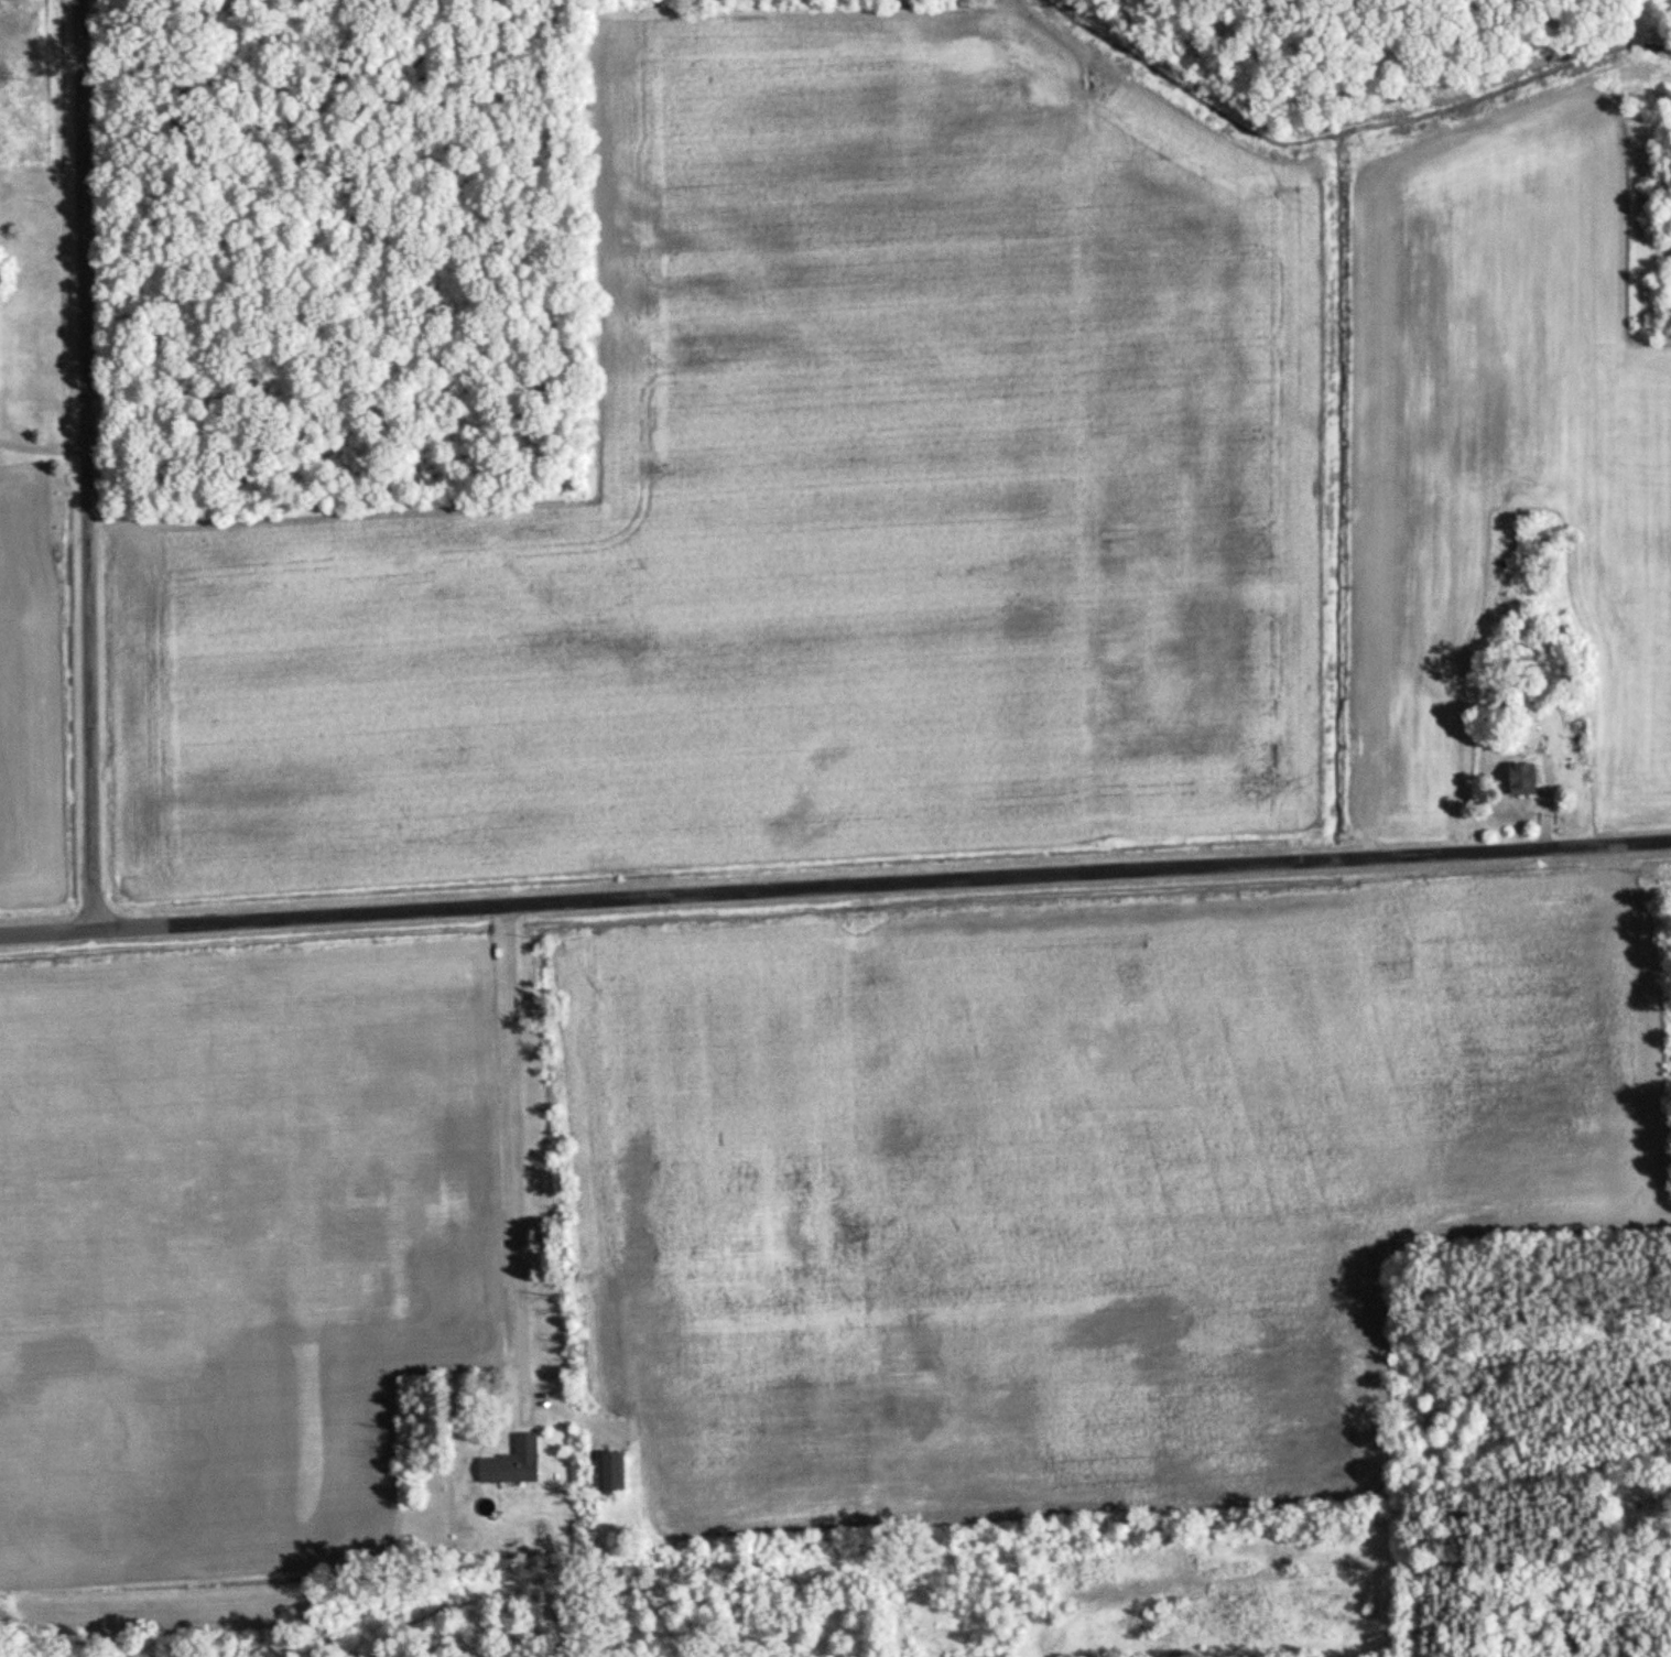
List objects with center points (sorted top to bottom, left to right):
road: (40, 444)
road: (82, 464)
building: (1515, 781)
road: (835, 887)
road: (518, 1141)
building: (525, 1468)
building: (618, 1470)

